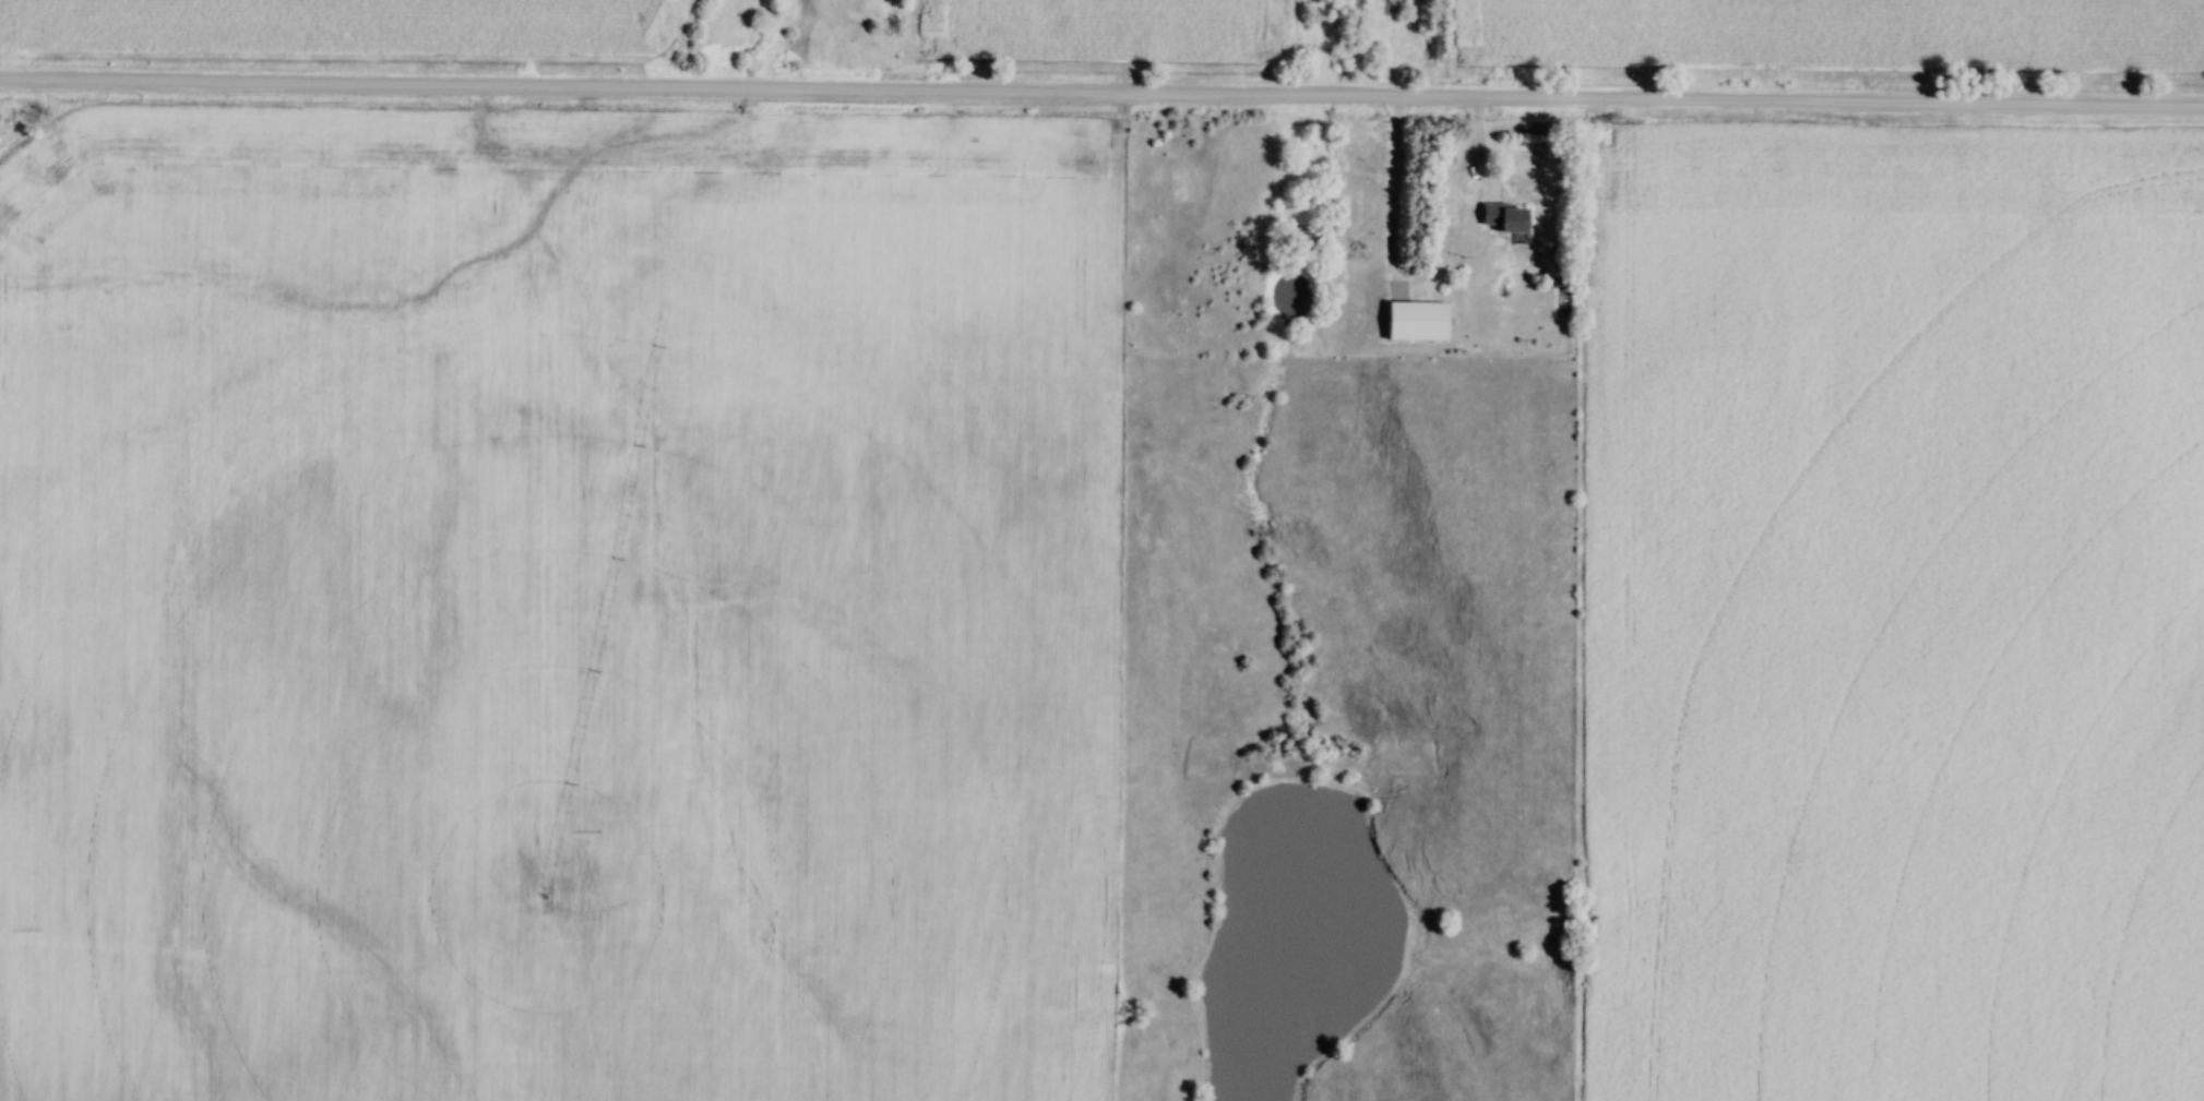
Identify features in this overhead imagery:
road: (1101, 95)
road: (1384, 200)
building: (1502, 217)
building: (1414, 322)

